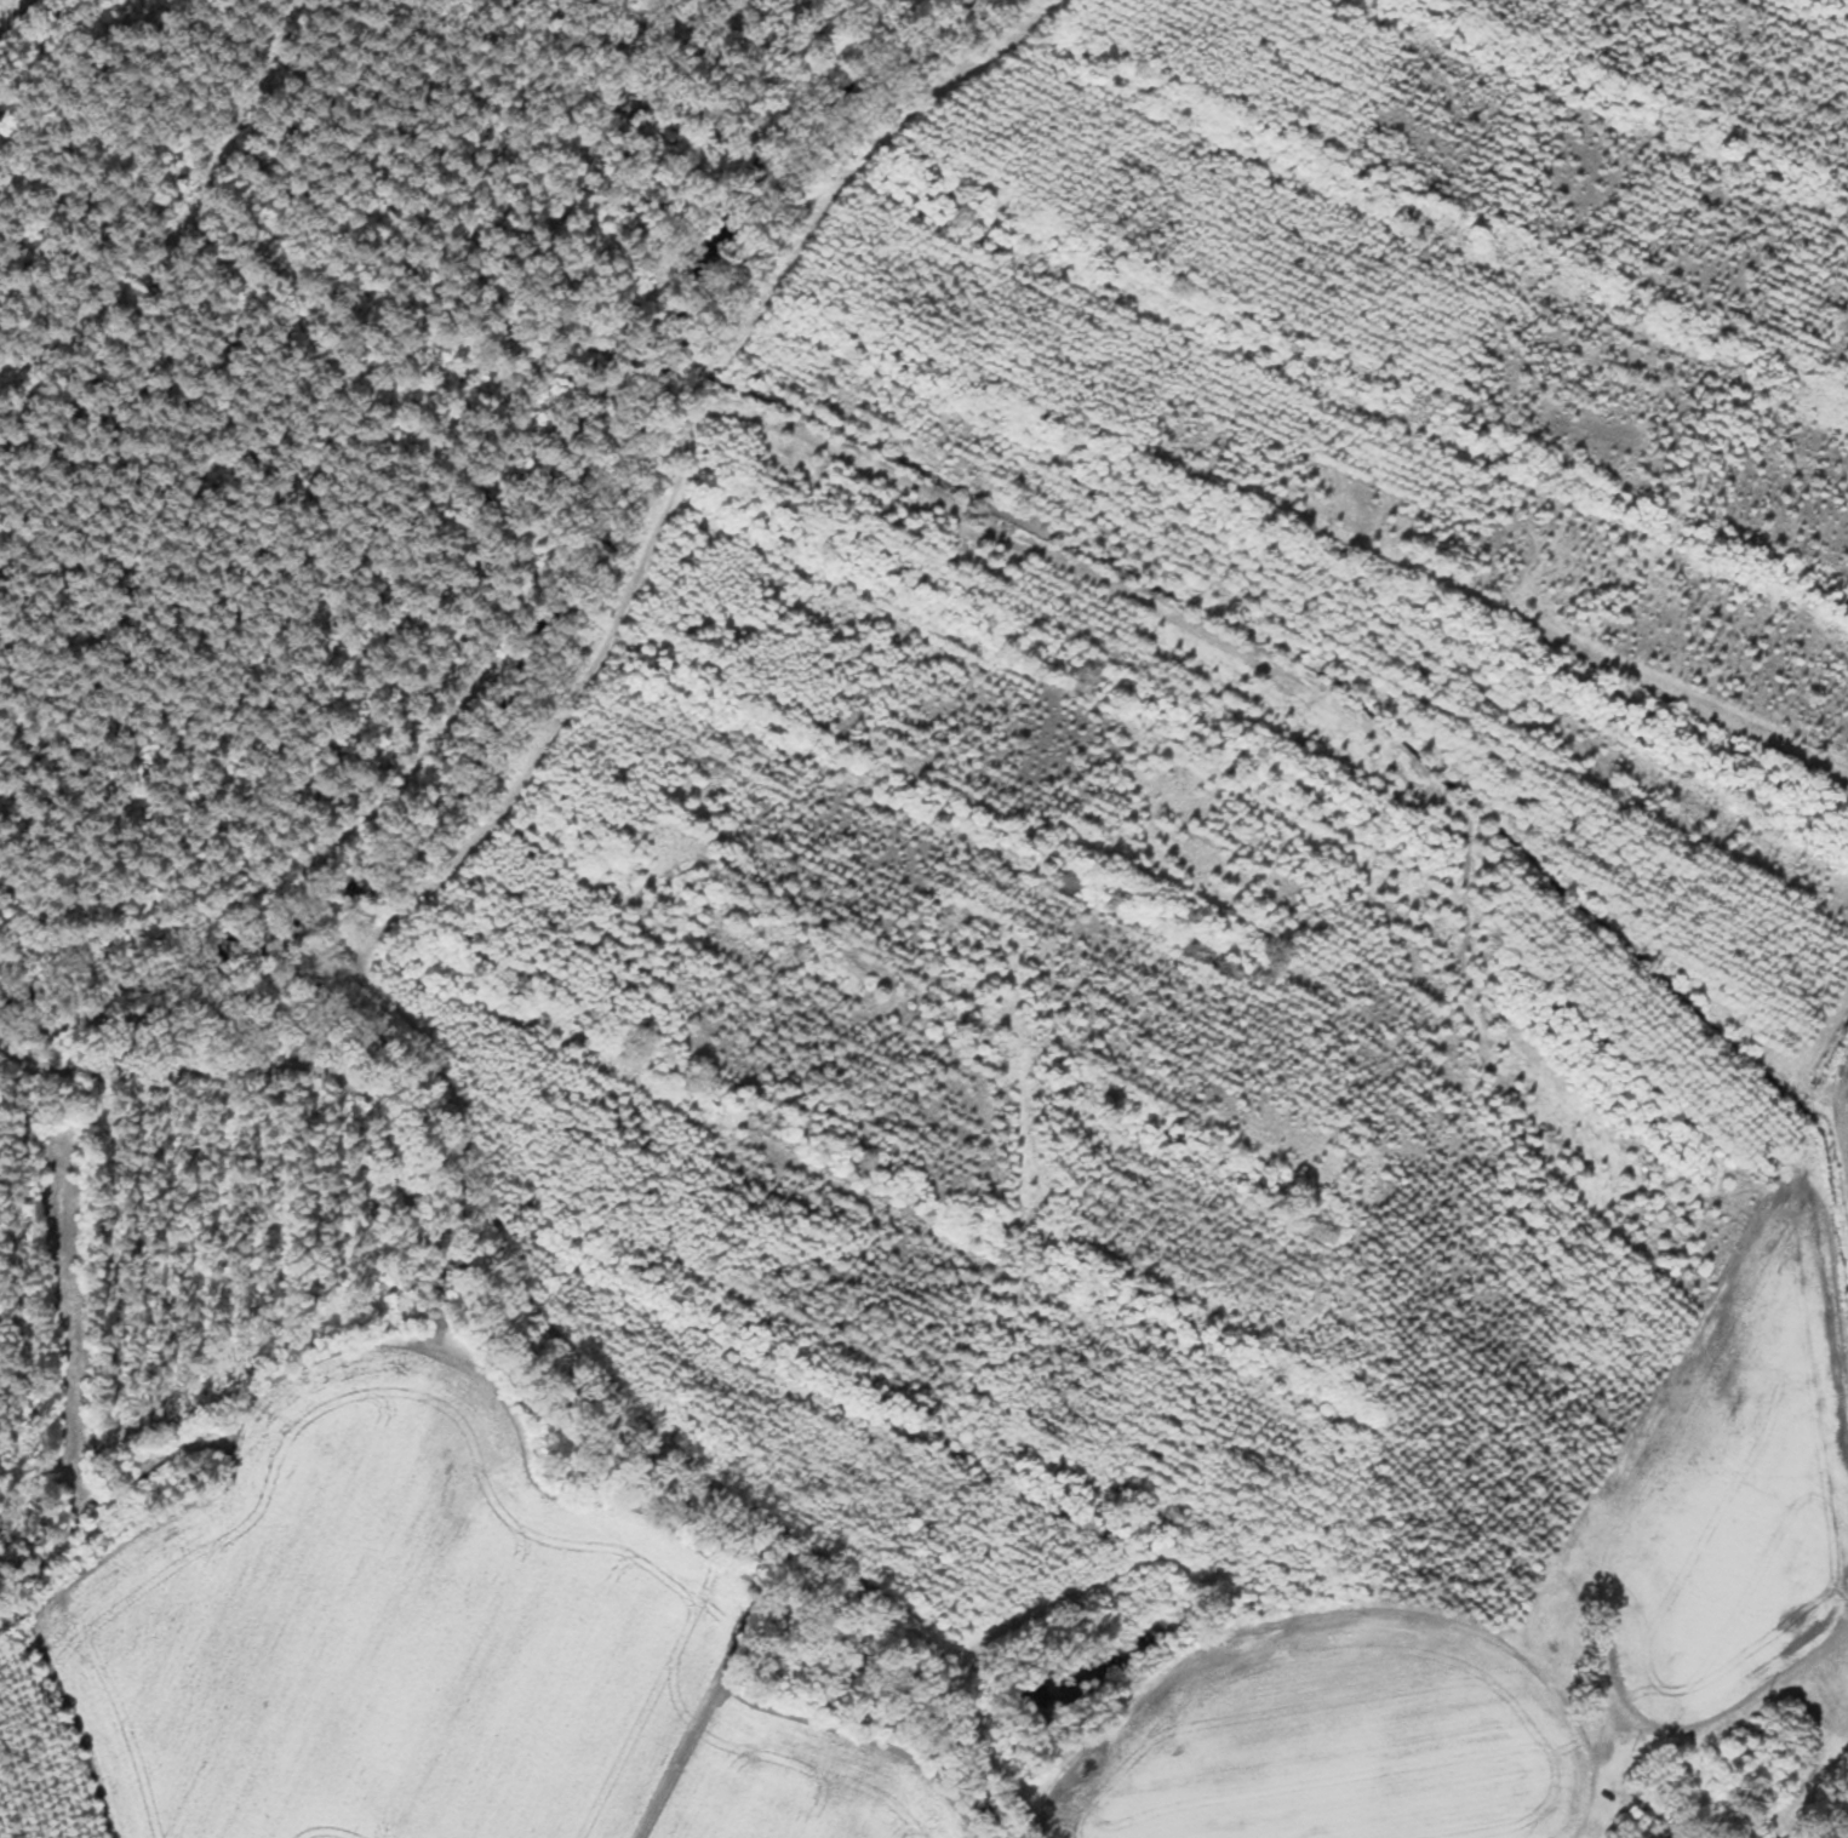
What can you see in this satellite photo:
building: (1687, 1837)

